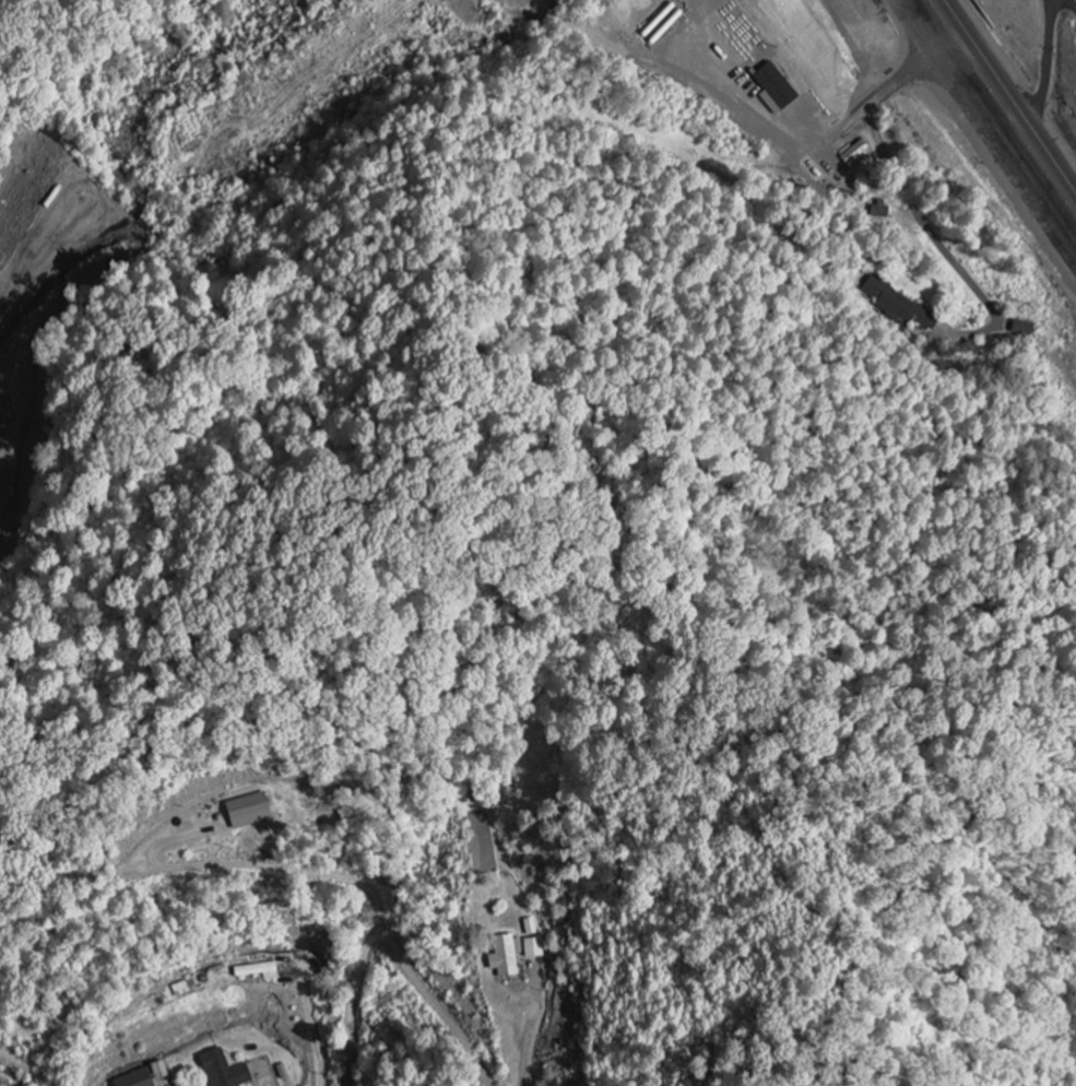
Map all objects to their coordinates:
building: (772, 88)
road: (995, 115)
building: (897, 306)
building: (1021, 329)
building: (246, 812)
building: (533, 948)
building: (502, 957)
building: (256, 971)
building: (221, 1071)
building: (143, 1076)
building: (4, 1079)

